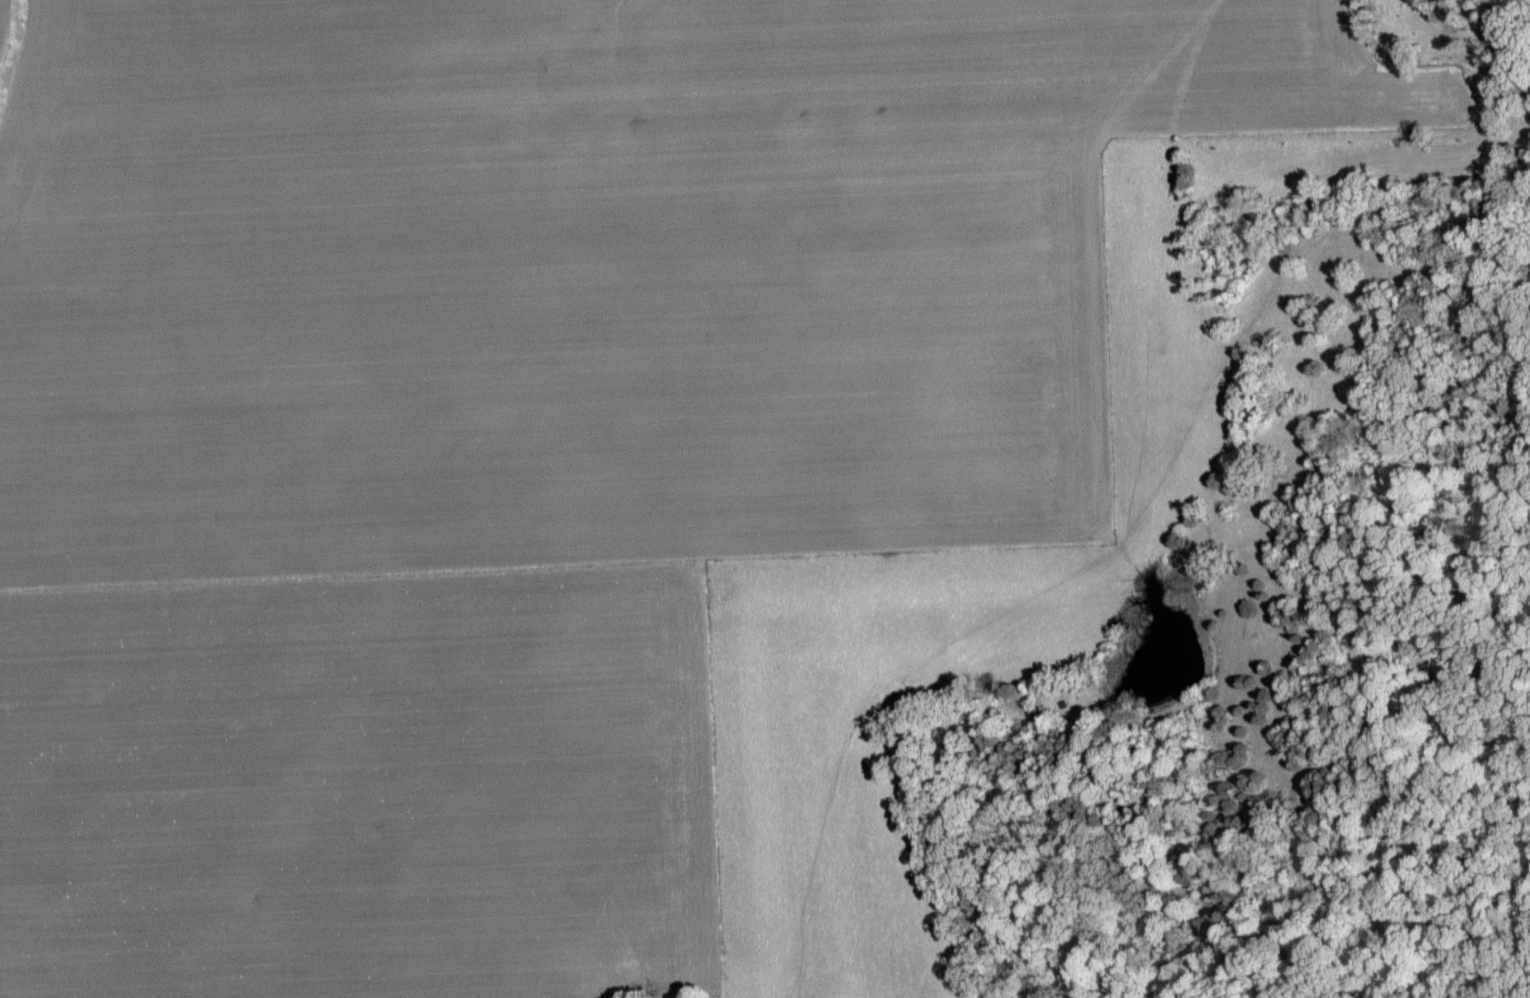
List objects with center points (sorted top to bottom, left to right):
crop: (592, 457)

